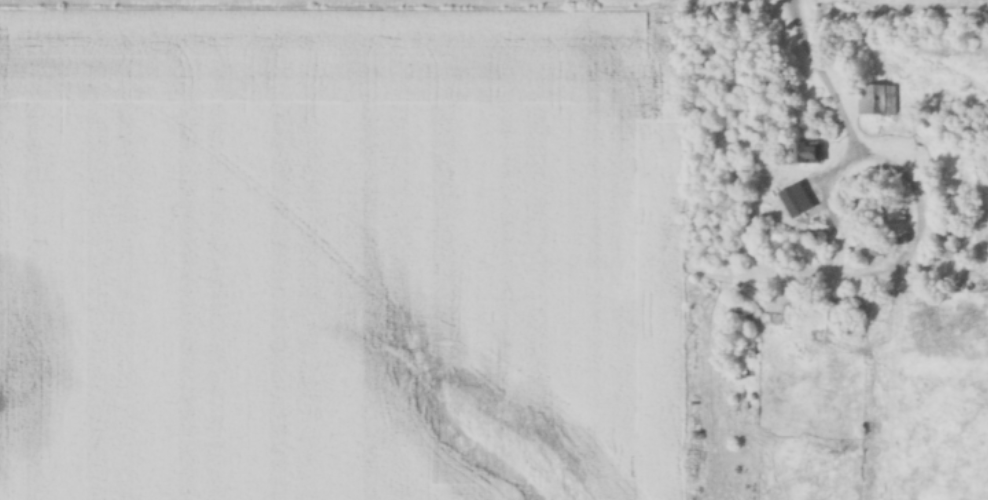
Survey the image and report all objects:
building: (876, 99)
building: (806, 151)
building: (948, 209)
building: (832, 320)

